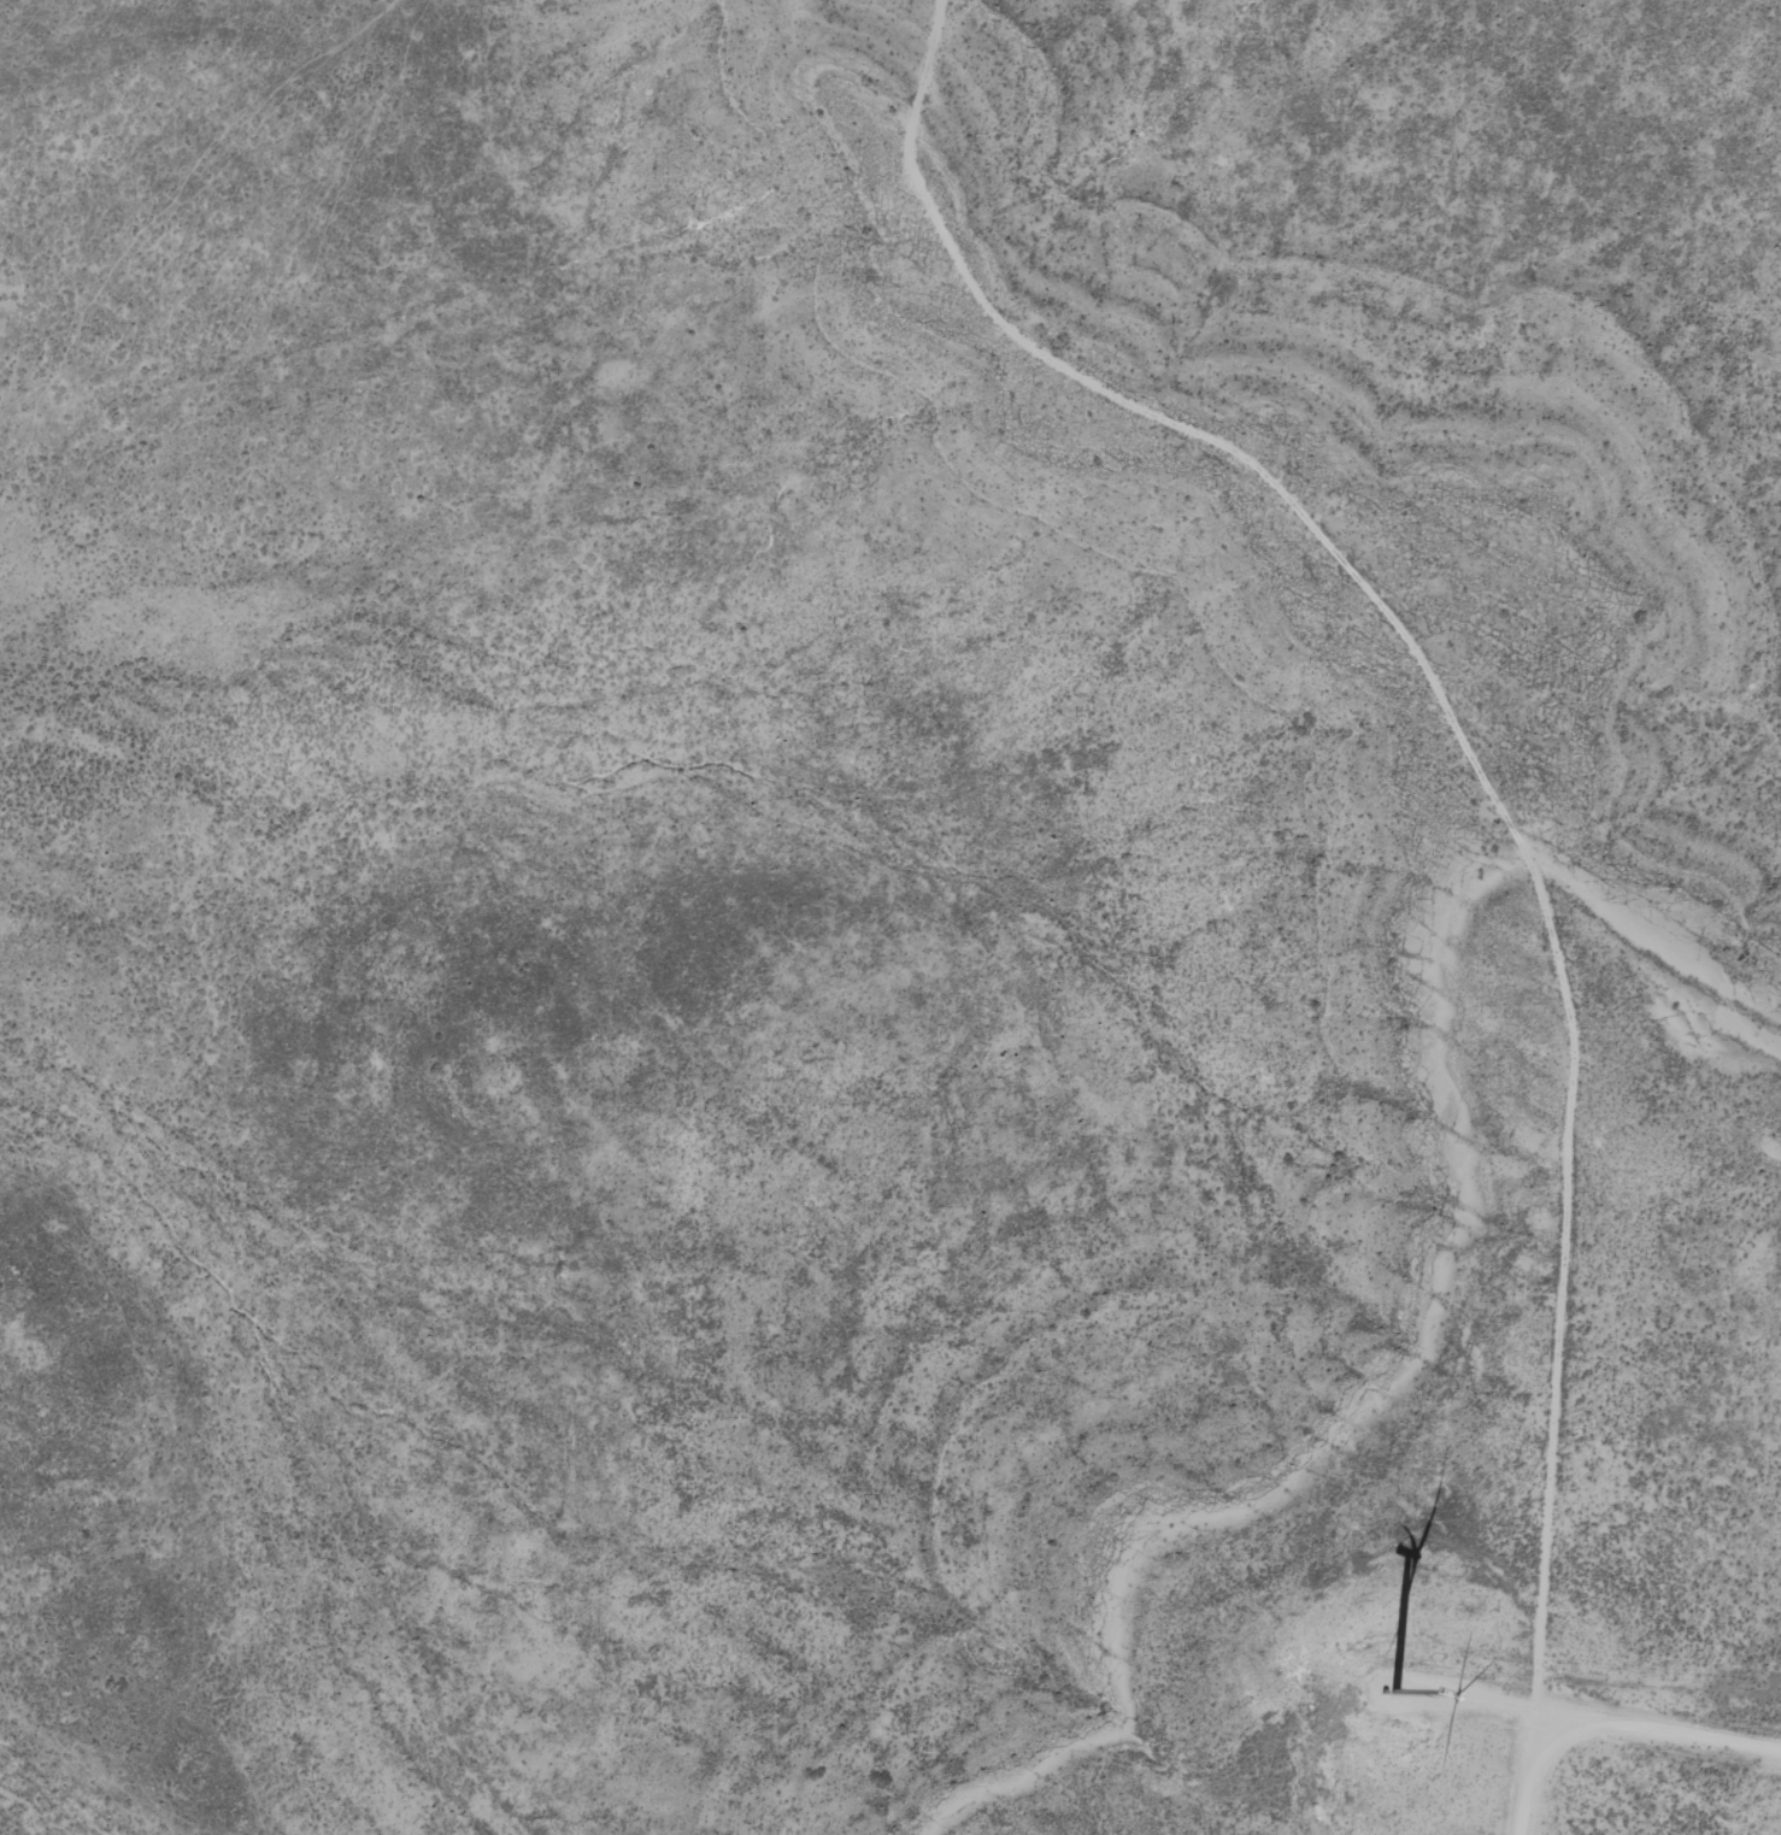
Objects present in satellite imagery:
wind turbine: (1397, 1687)

